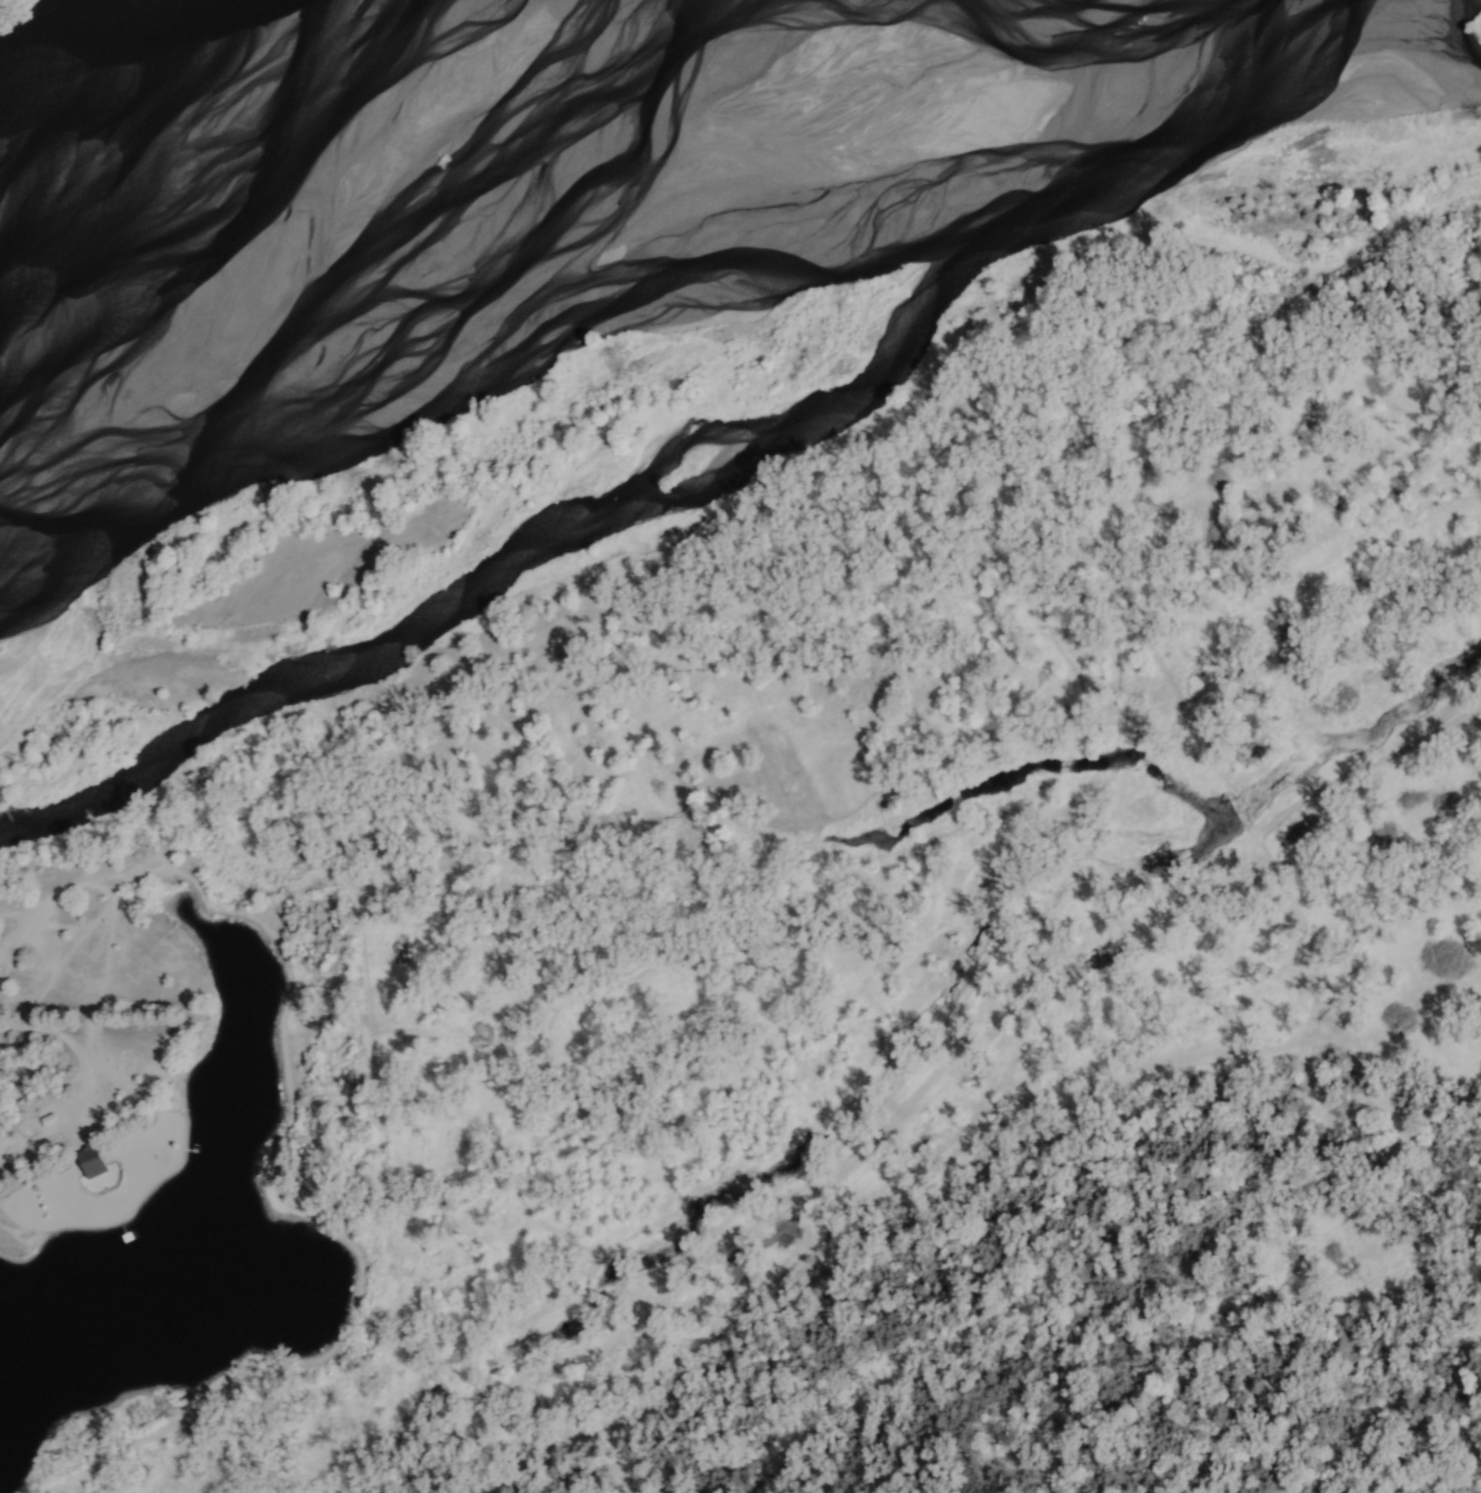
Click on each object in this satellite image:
river: (152, 114)
road: (73, 1050)
building: (94, 1164)

